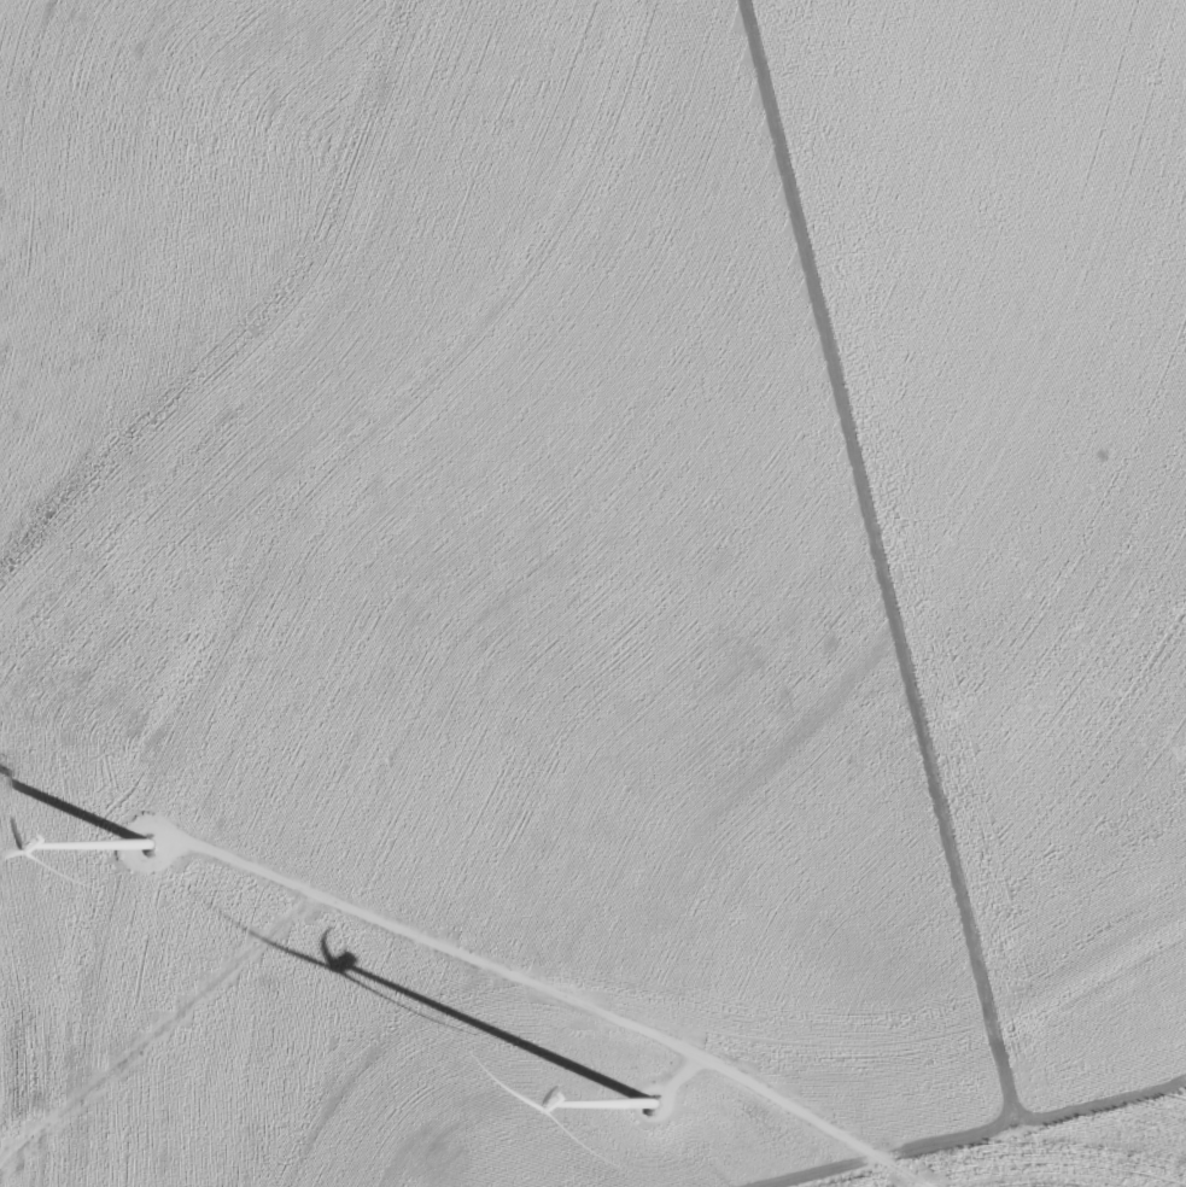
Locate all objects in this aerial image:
wind turbine: (135, 843)
road: (569, 998)
wind turbine: (648, 1110)

